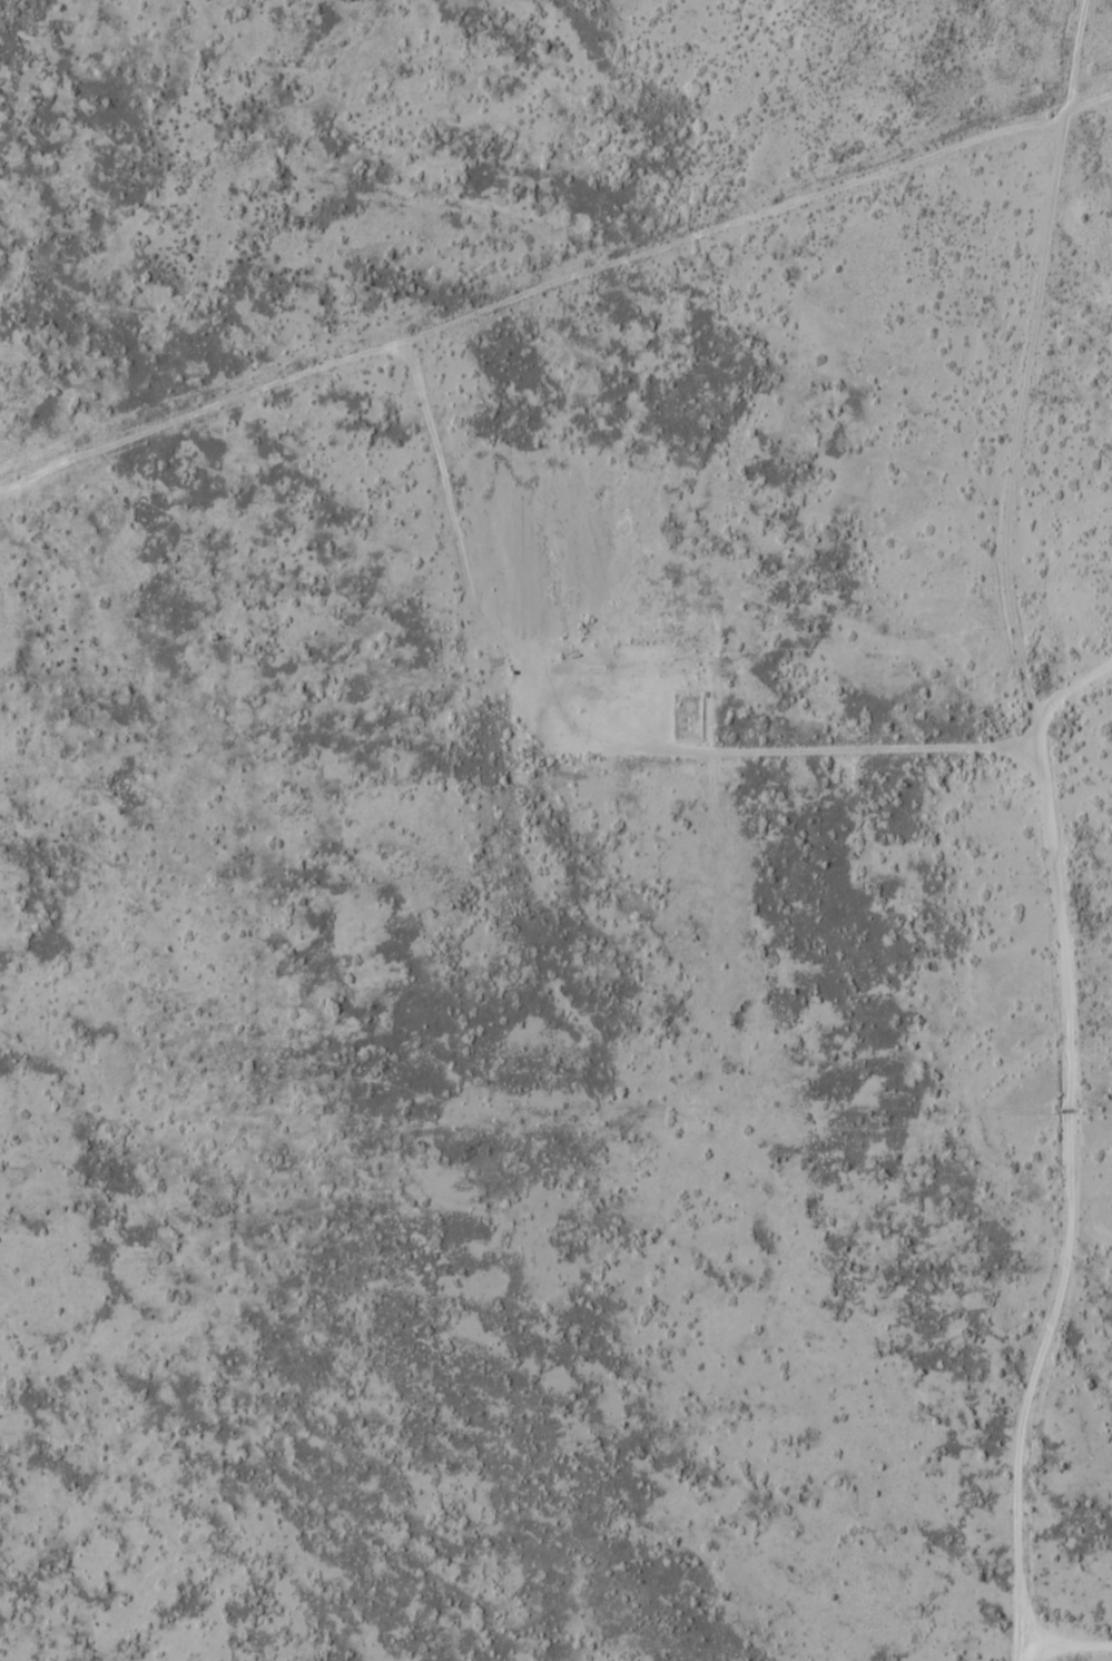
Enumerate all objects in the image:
road: (811, 745)
road: (1054, 829)
road: (1064, 1653)

